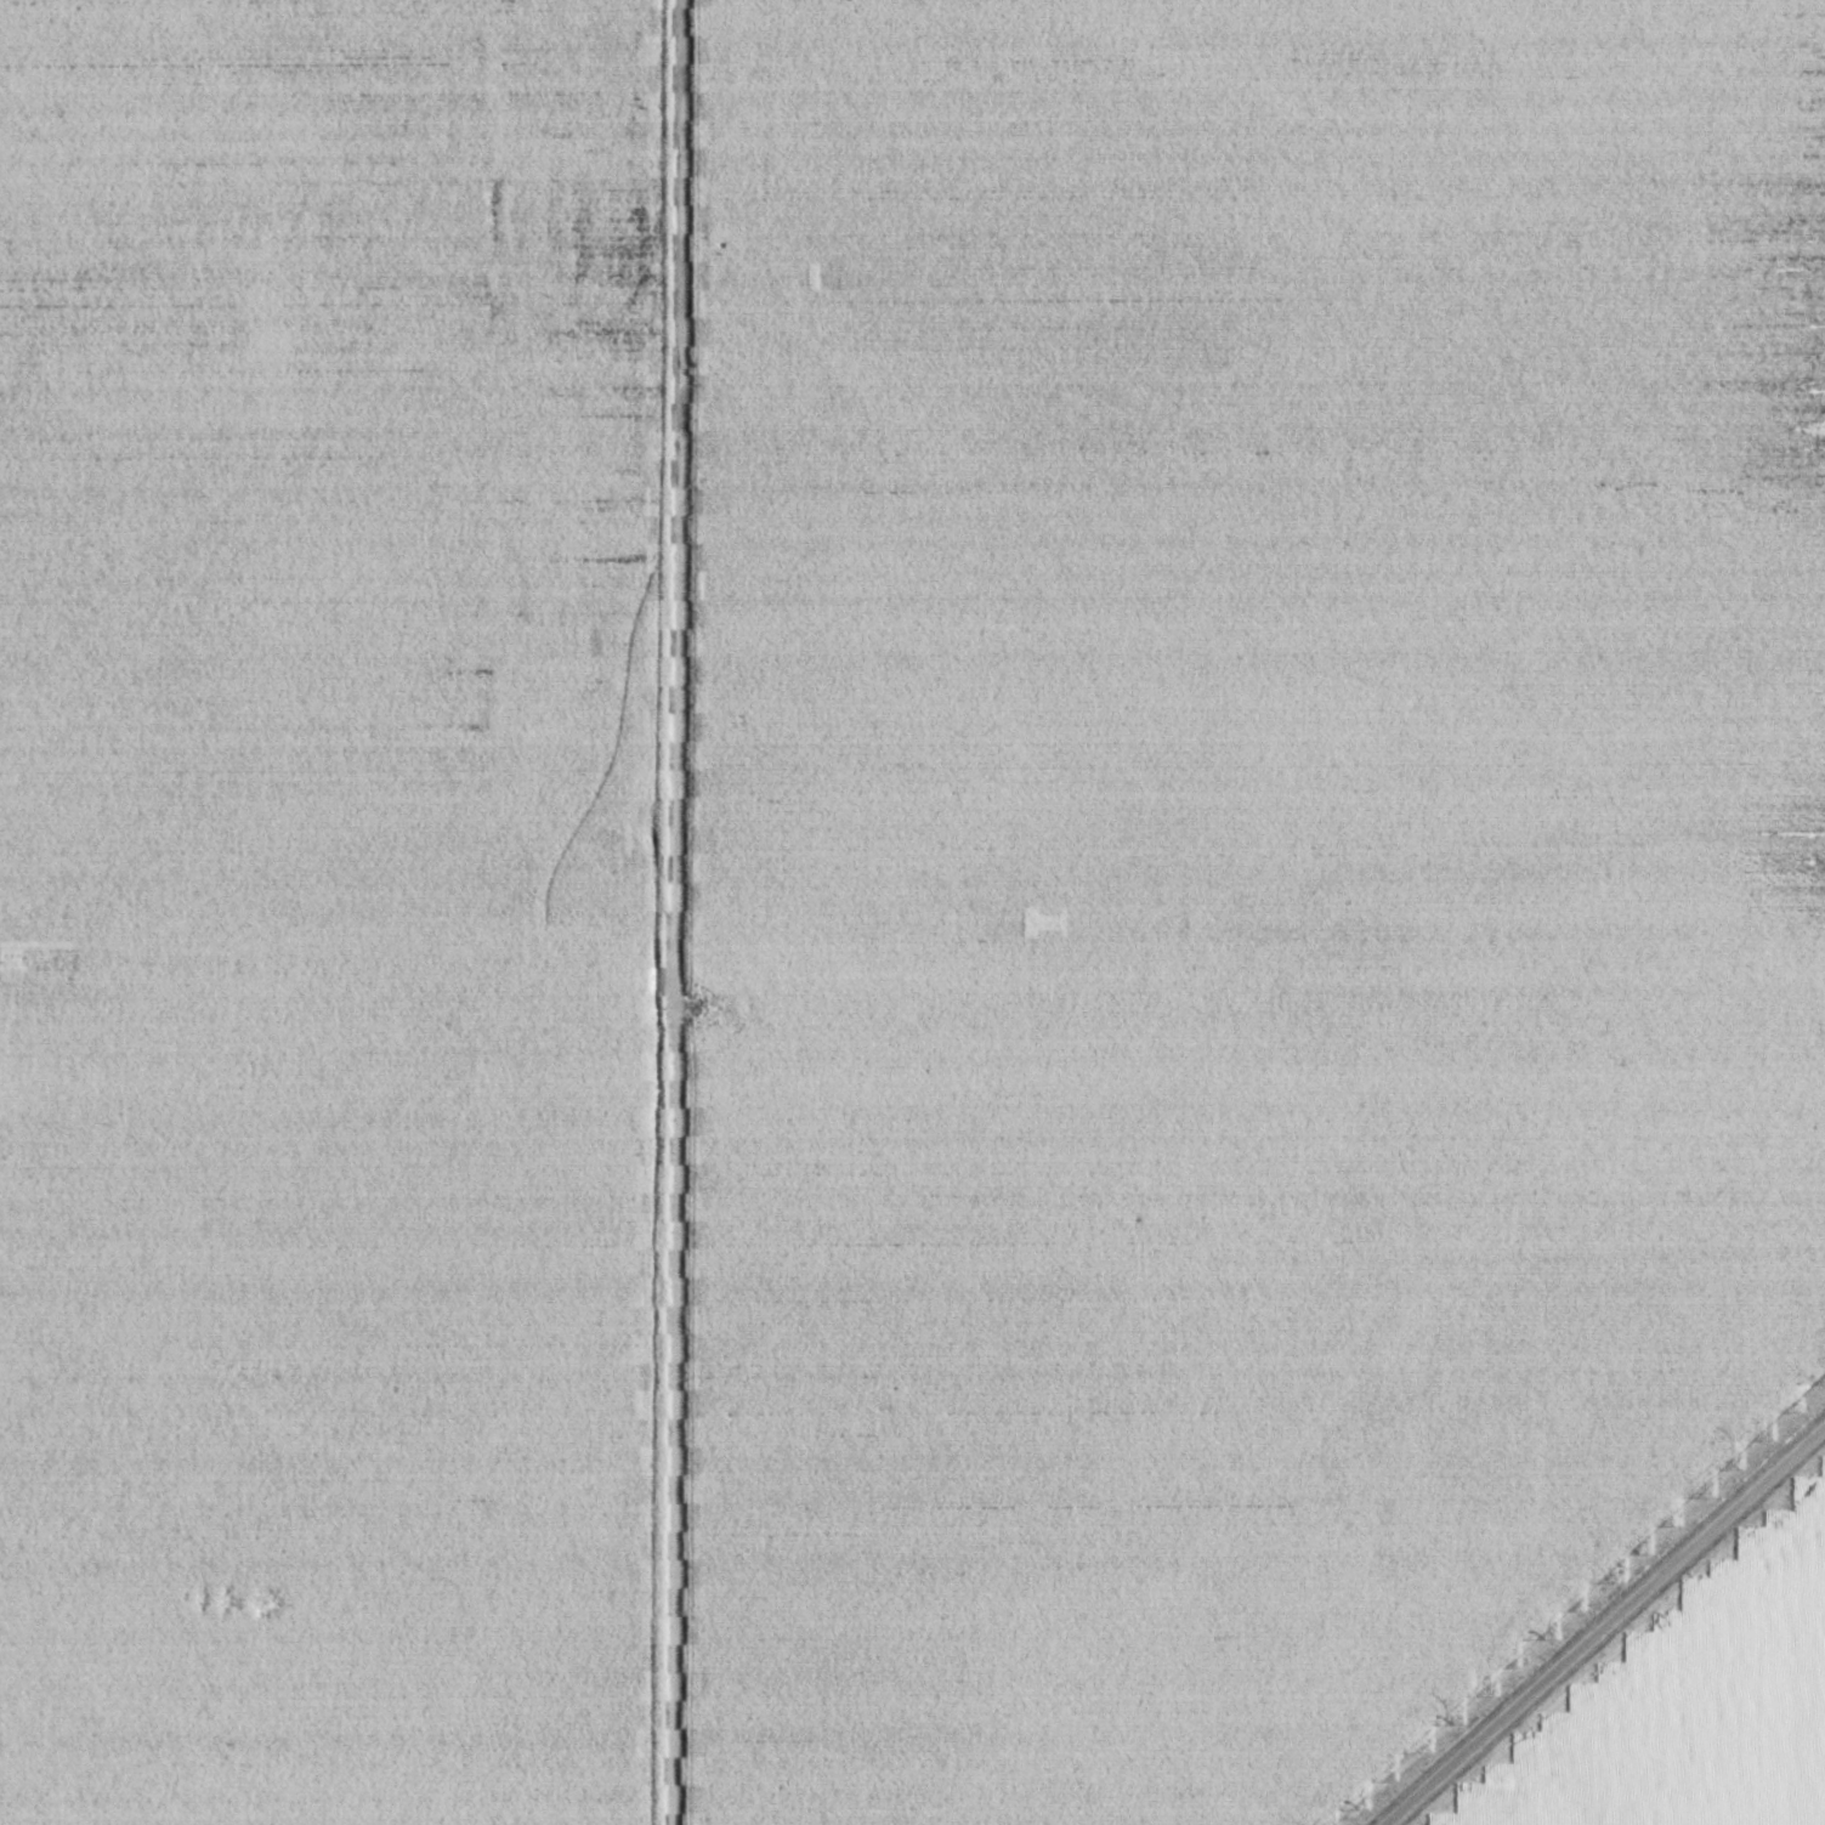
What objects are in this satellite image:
road: (1602, 1621)

